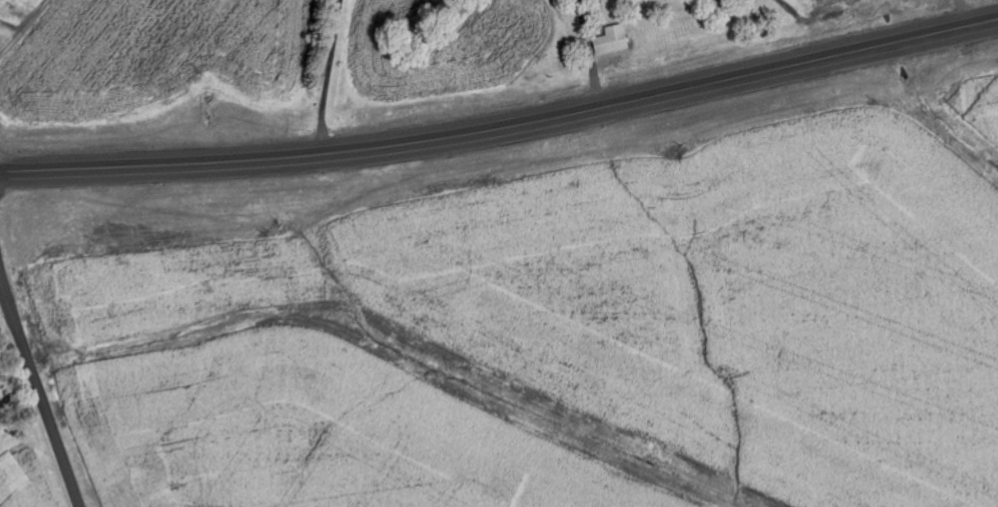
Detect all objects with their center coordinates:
road: (27, 35)
building: (615, 41)
road: (503, 127)
road: (39, 385)

